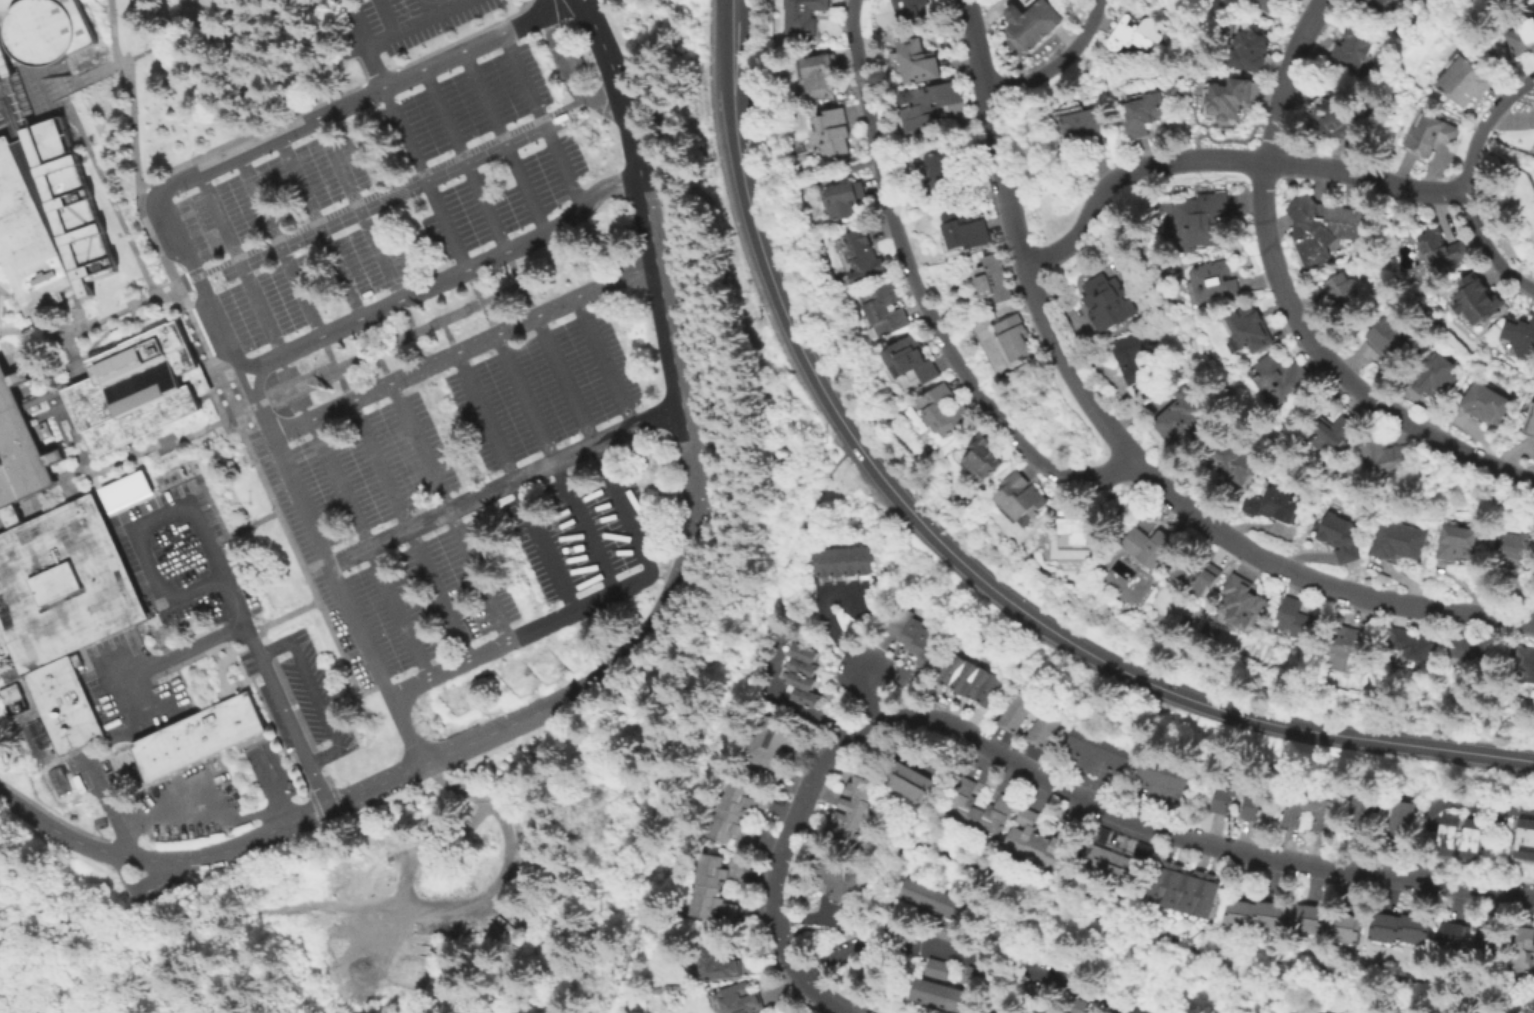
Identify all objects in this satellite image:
road: (464, 2)
road: (548, 2)
building: (1268, 4)
building: (1377, 5)
building: (914, 8)
road: (425, 9)
road: (593, 11)
road: (580, 12)
building: (805, 15)
road: (386, 18)
parking lot: (393, 23)
building: (1034, 23)
road: (419, 24)
building: (41, 31)
road: (114, 32)
building: (1138, 32)
building: (1519, 37)
road: (173, 39)
road: (1481, 43)
road: (363, 44)
road: (736, 45)
building: (1253, 50)
building: (1348, 50)
building: (919, 59)
building: (575, 61)
road: (1057, 63)
road: (566, 72)
building: (822, 74)
road: (1286, 79)
building: (1459, 82)
road: (45, 92)
road: (623, 98)
building: (1232, 98)
road: (355, 102)
building: (932, 105)
road: (0, 111)
building: (1146, 114)
building: (1337, 116)
road: (7, 117)
road: (543, 121)
building: (1087, 127)
building: (833, 131)
road: (135, 135)
building: (1429, 135)
road: (505, 143)
road: (1222, 159)
road: (465, 161)
road: (1504, 165)
building: (950, 171)
road: (426, 179)
road: (1463, 183)
road: (391, 189)
parking lot: (385, 197)
building: (849, 198)
road: (111, 204)
park: (1505, 204)
road: (360, 210)
building: (48, 218)
road: (170, 220)
building: (1204, 220)
road: (320, 228)
building: (1322, 229)
building: (959, 230)
road: (739, 239)
road: (280, 247)
building: (1438, 250)
building: (866, 257)
road: (241, 265)
road: (772, 277)
building: (996, 279)
road: (442, 282)
building: (1214, 283)
road: (522, 285)
building: (1337, 289)
building: (1475, 295)
road: (496, 296)
road: (922, 300)
road: (208, 301)
road: (747, 301)
building: (1112, 302)
road: (482, 303)
building: (889, 309)
road: (22, 310)
road: (56, 311)
road: (76, 311)
road: (115, 313)
road: (409, 317)
road: (450, 317)
building: (1252, 329)
road: (7, 332)
road: (107, 334)
road: (411, 335)
road: (53, 337)
road: (450, 337)
building: (1518, 338)
building: (1017, 340)
building: (1388, 340)
road: (379, 350)
road: (464, 351)
road: (376, 352)
road: (76, 355)
road: (14, 356)
building: (908, 360)
road: (212, 362)
road: (347, 364)
building: (1140, 364)
road: (606, 365)
road: (337, 370)
road: (1337, 370)
building: (1429, 375)
building: (1284, 379)
road: (241, 380)
road: (258, 380)
road: (302, 384)
building: (138, 389)
road: (54, 392)
road: (259, 404)
building: (1480, 405)
building: (947, 410)
road: (244, 412)
building: (1187, 421)
building: (1529, 421)
road: (223, 422)
road: (196, 430)
building: (1337, 433)
road: (1119, 436)
road: (165, 444)
road: (595, 445)
building: (20, 450)
building: (1390, 453)
building: (986, 456)
building: (1234, 461)
road: (556, 465)
road: (72, 471)
road: (516, 482)
road: (507, 489)
building: (125, 491)
road: (468, 495)
parking lot: (470, 496)
building: (1024, 496)
building: (1277, 505)
road: (451, 512)
road: (135, 530)
building: (1080, 530)
road: (410, 531)
building: (1343, 537)
building: (1400, 541)
building: (1461, 543)
building: (1153, 547)
building: (1518, 547)
road: (371, 549)
parking lot: (187, 558)
building: (861, 561)
building: (848, 562)
building: (835, 563)
building: (822, 564)
road: (789, 570)
building: (1199, 575)
road: (308, 577)
road: (337, 582)
building: (63, 584)
building: (1247, 603)
building: (1299, 618)
building: (899, 620)
road: (274, 623)
building: (908, 631)
road: (693, 632)
road: (521, 636)
building: (919, 640)
building: (1418, 644)
building: (1352, 647)
building: (1471, 649)
building: (801, 650)
building: (928, 654)
road: (163, 660)
road: (239, 663)
building: (801, 664)
building: (1523, 664)
building: (800, 678)
building: (974, 682)
road: (1155, 686)
road: (276, 692)
parking lot: (313, 692)
building: (9, 693)
building: (803, 694)
road: (229, 695)
road: (315, 695)
road: (873, 697)
building: (64, 704)
road: (550, 708)
building: (1016, 710)
building: (1042, 728)
building: (198, 736)
building: (777, 741)
building: (1103, 753)
road: (542, 756)
building: (914, 780)
building: (57, 781)
building: (1171, 781)
road: (1073, 793)
building: (1254, 796)
road: (1446, 803)
building: (976, 808)
road: (343, 810)
building: (848, 810)
building: (1359, 812)
building: (1295, 815)
building: (732, 817)
road: (418, 819)
building: (1400, 819)
building: (1457, 835)
road: (504, 837)
building: (1523, 838)
building: (1034, 841)
building: (1120, 855)
road: (570, 858)
road: (147, 879)
building: (838, 879)
road: (205, 880)
building: (714, 886)
building: (895, 887)
building: (1187, 887)
parking lot: (156, 892)
building: (908, 892)
building: (920, 896)
building: (933, 902)
building: (946, 907)
building: (958, 911)
building: (1258, 913)
building: (1315, 916)
road: (1131, 926)
building: (1351, 926)
building: (1404, 926)
road: (703, 931)
building: (948, 932)
building: (1458, 935)
road: (783, 941)
building: (1494, 942)
building: (1524, 949)
road: (969, 956)
building: (721, 962)
road: (628, 963)
building: (936, 966)
building: (974, 975)
road: (809, 983)
building: (938, 994)
building: (743, 998)
building: (1046, 1012)
building: (1293, 1012)

